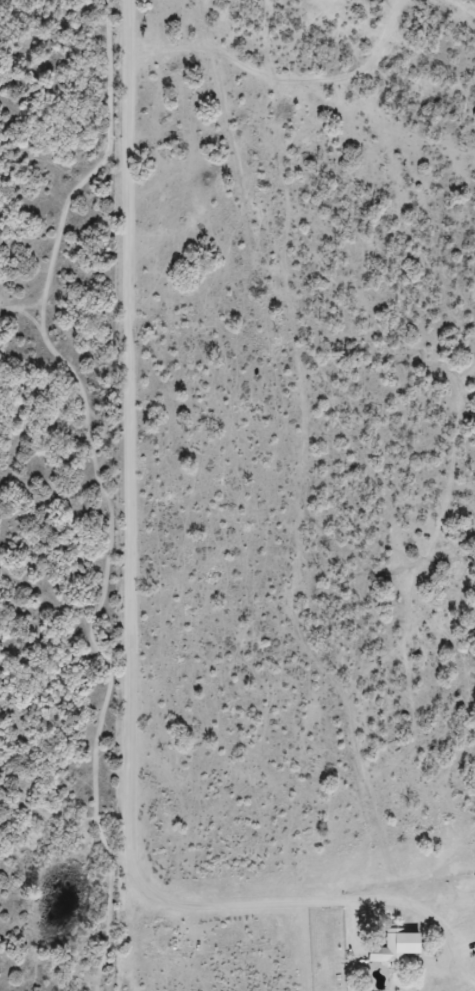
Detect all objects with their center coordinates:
building: (399, 947)

